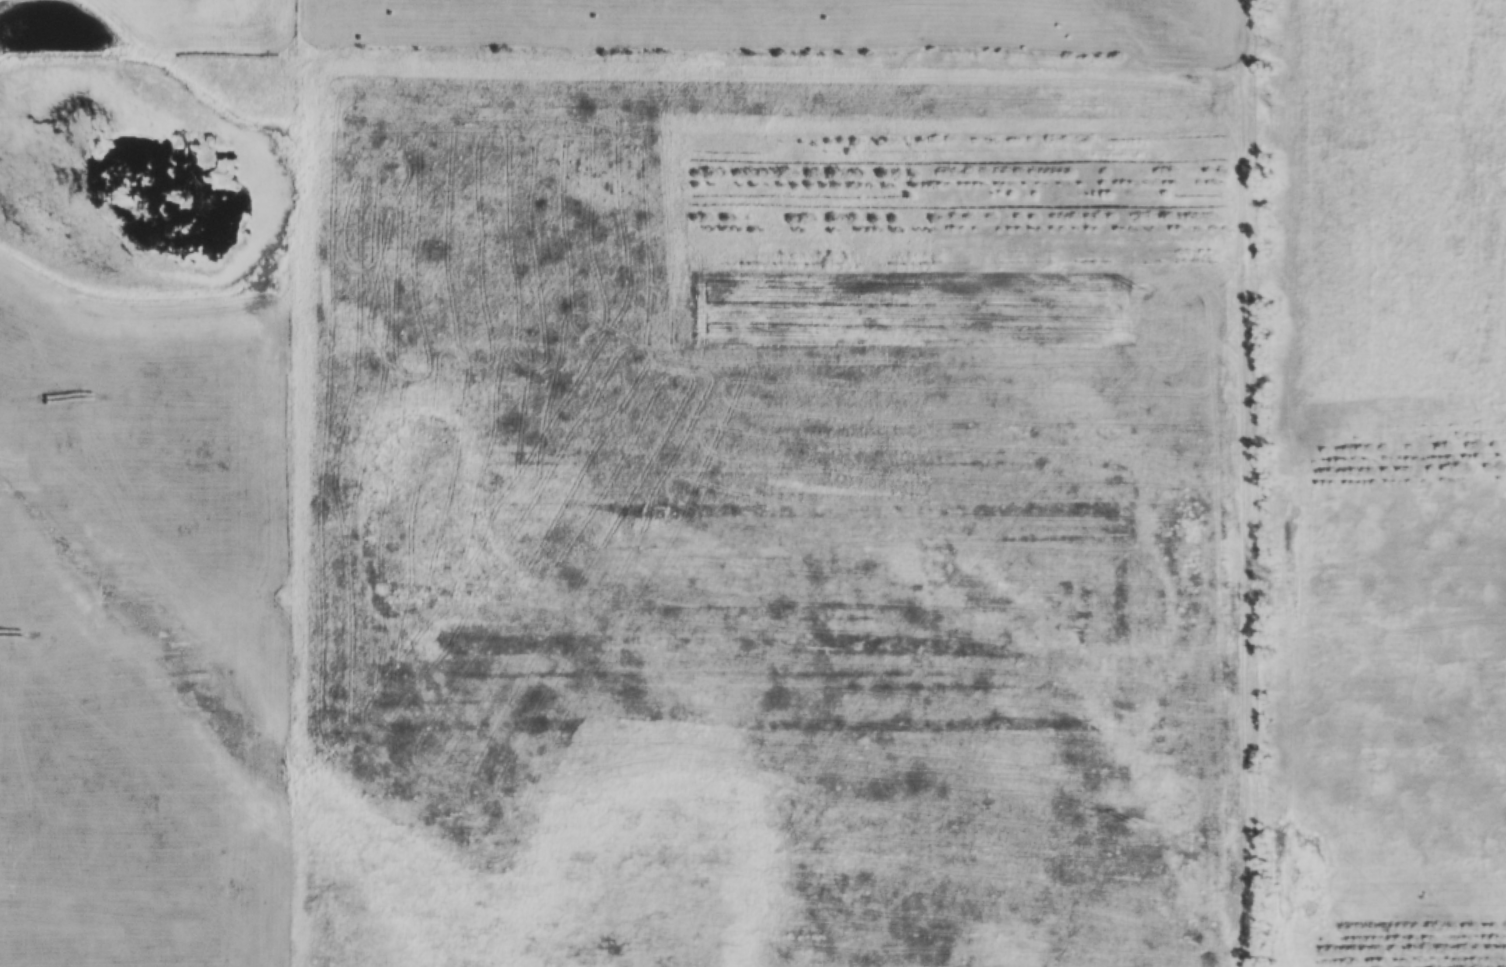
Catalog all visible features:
power tower: (1139, 289)
road: (1233, 483)
power tower: (1132, 824)

